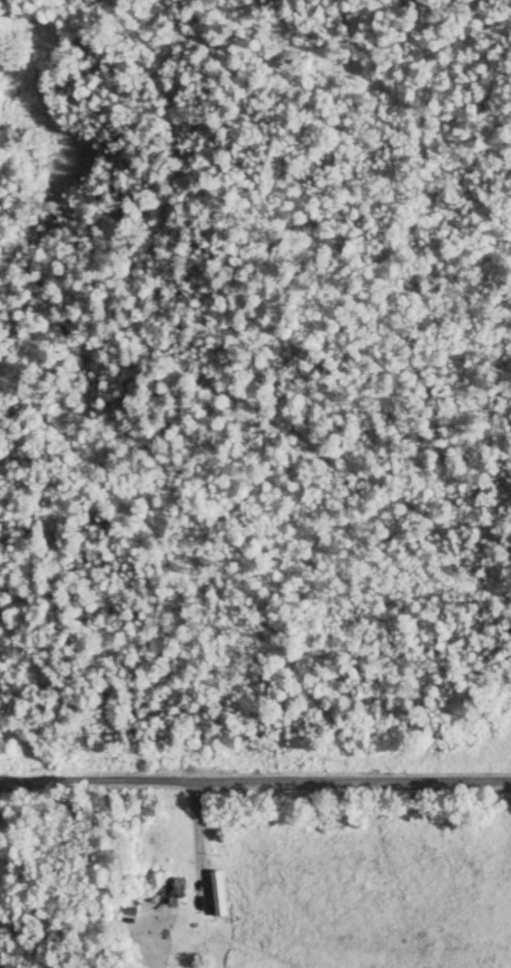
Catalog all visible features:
road: (255, 769)
building: (172, 885)
building: (216, 911)

